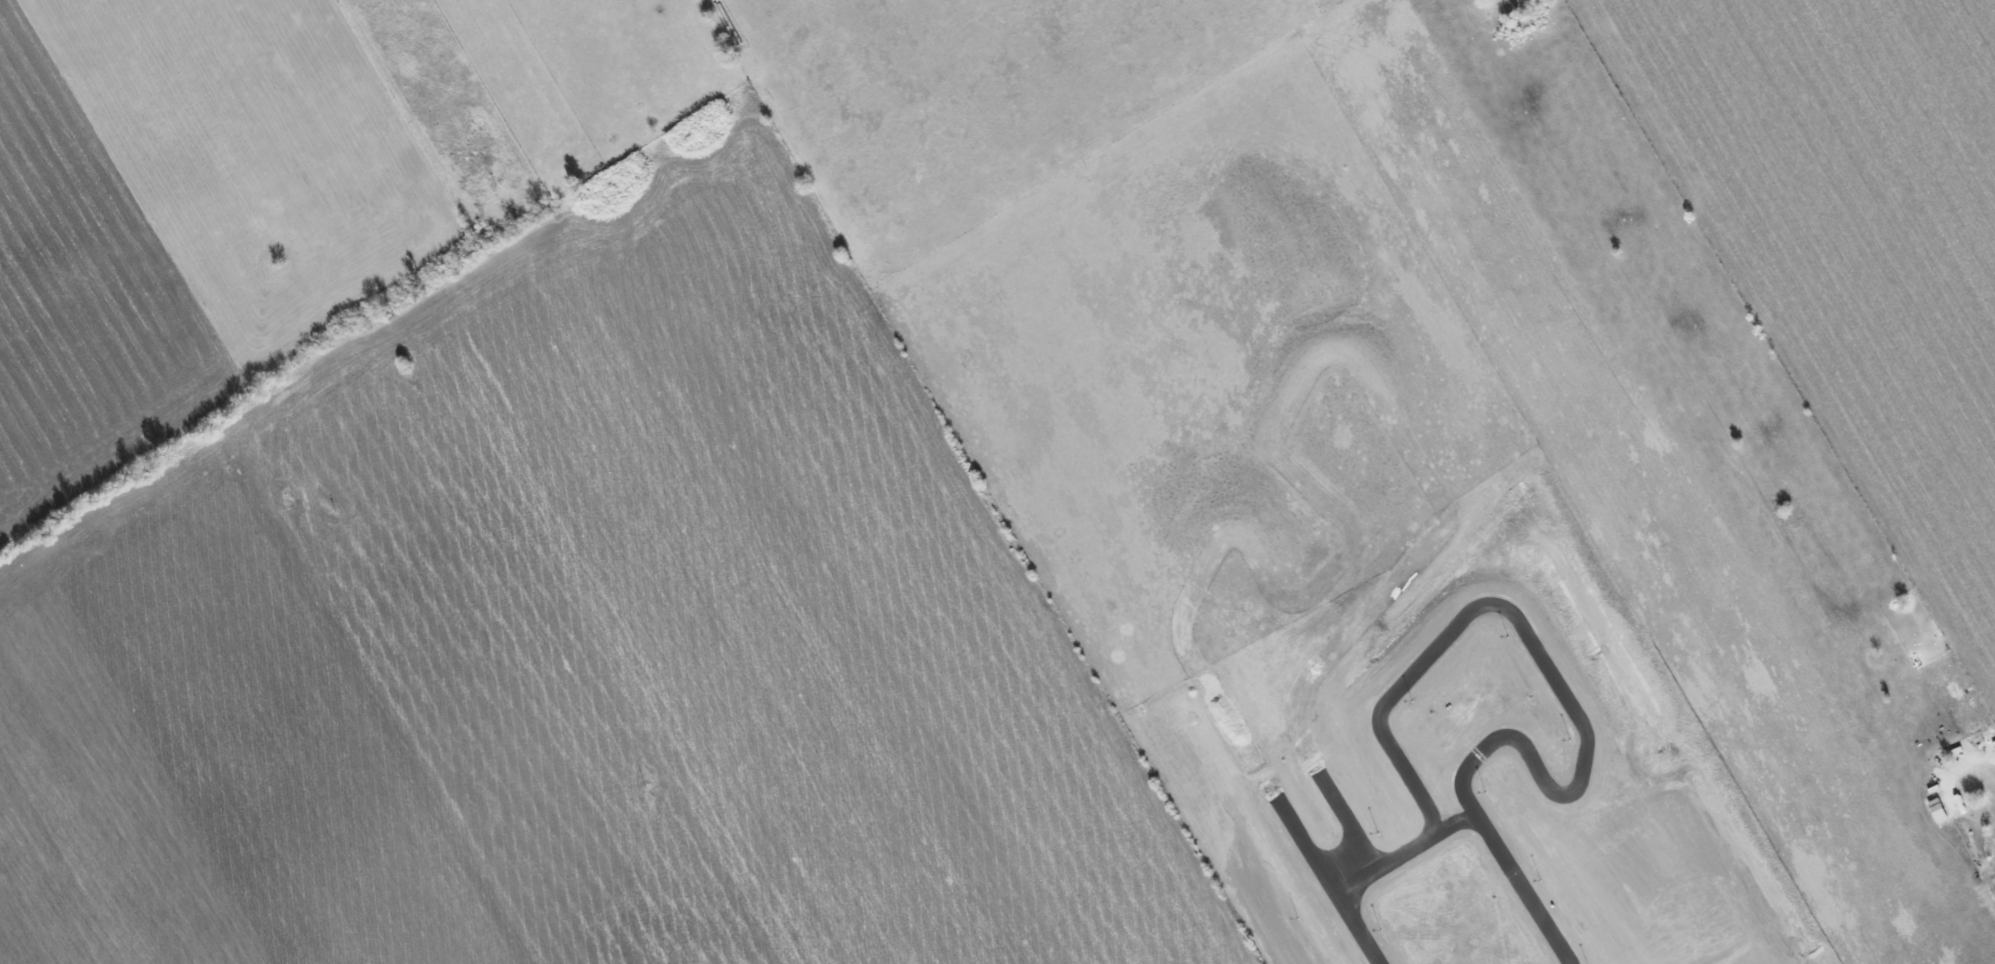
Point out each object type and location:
road: (1957, 766)

